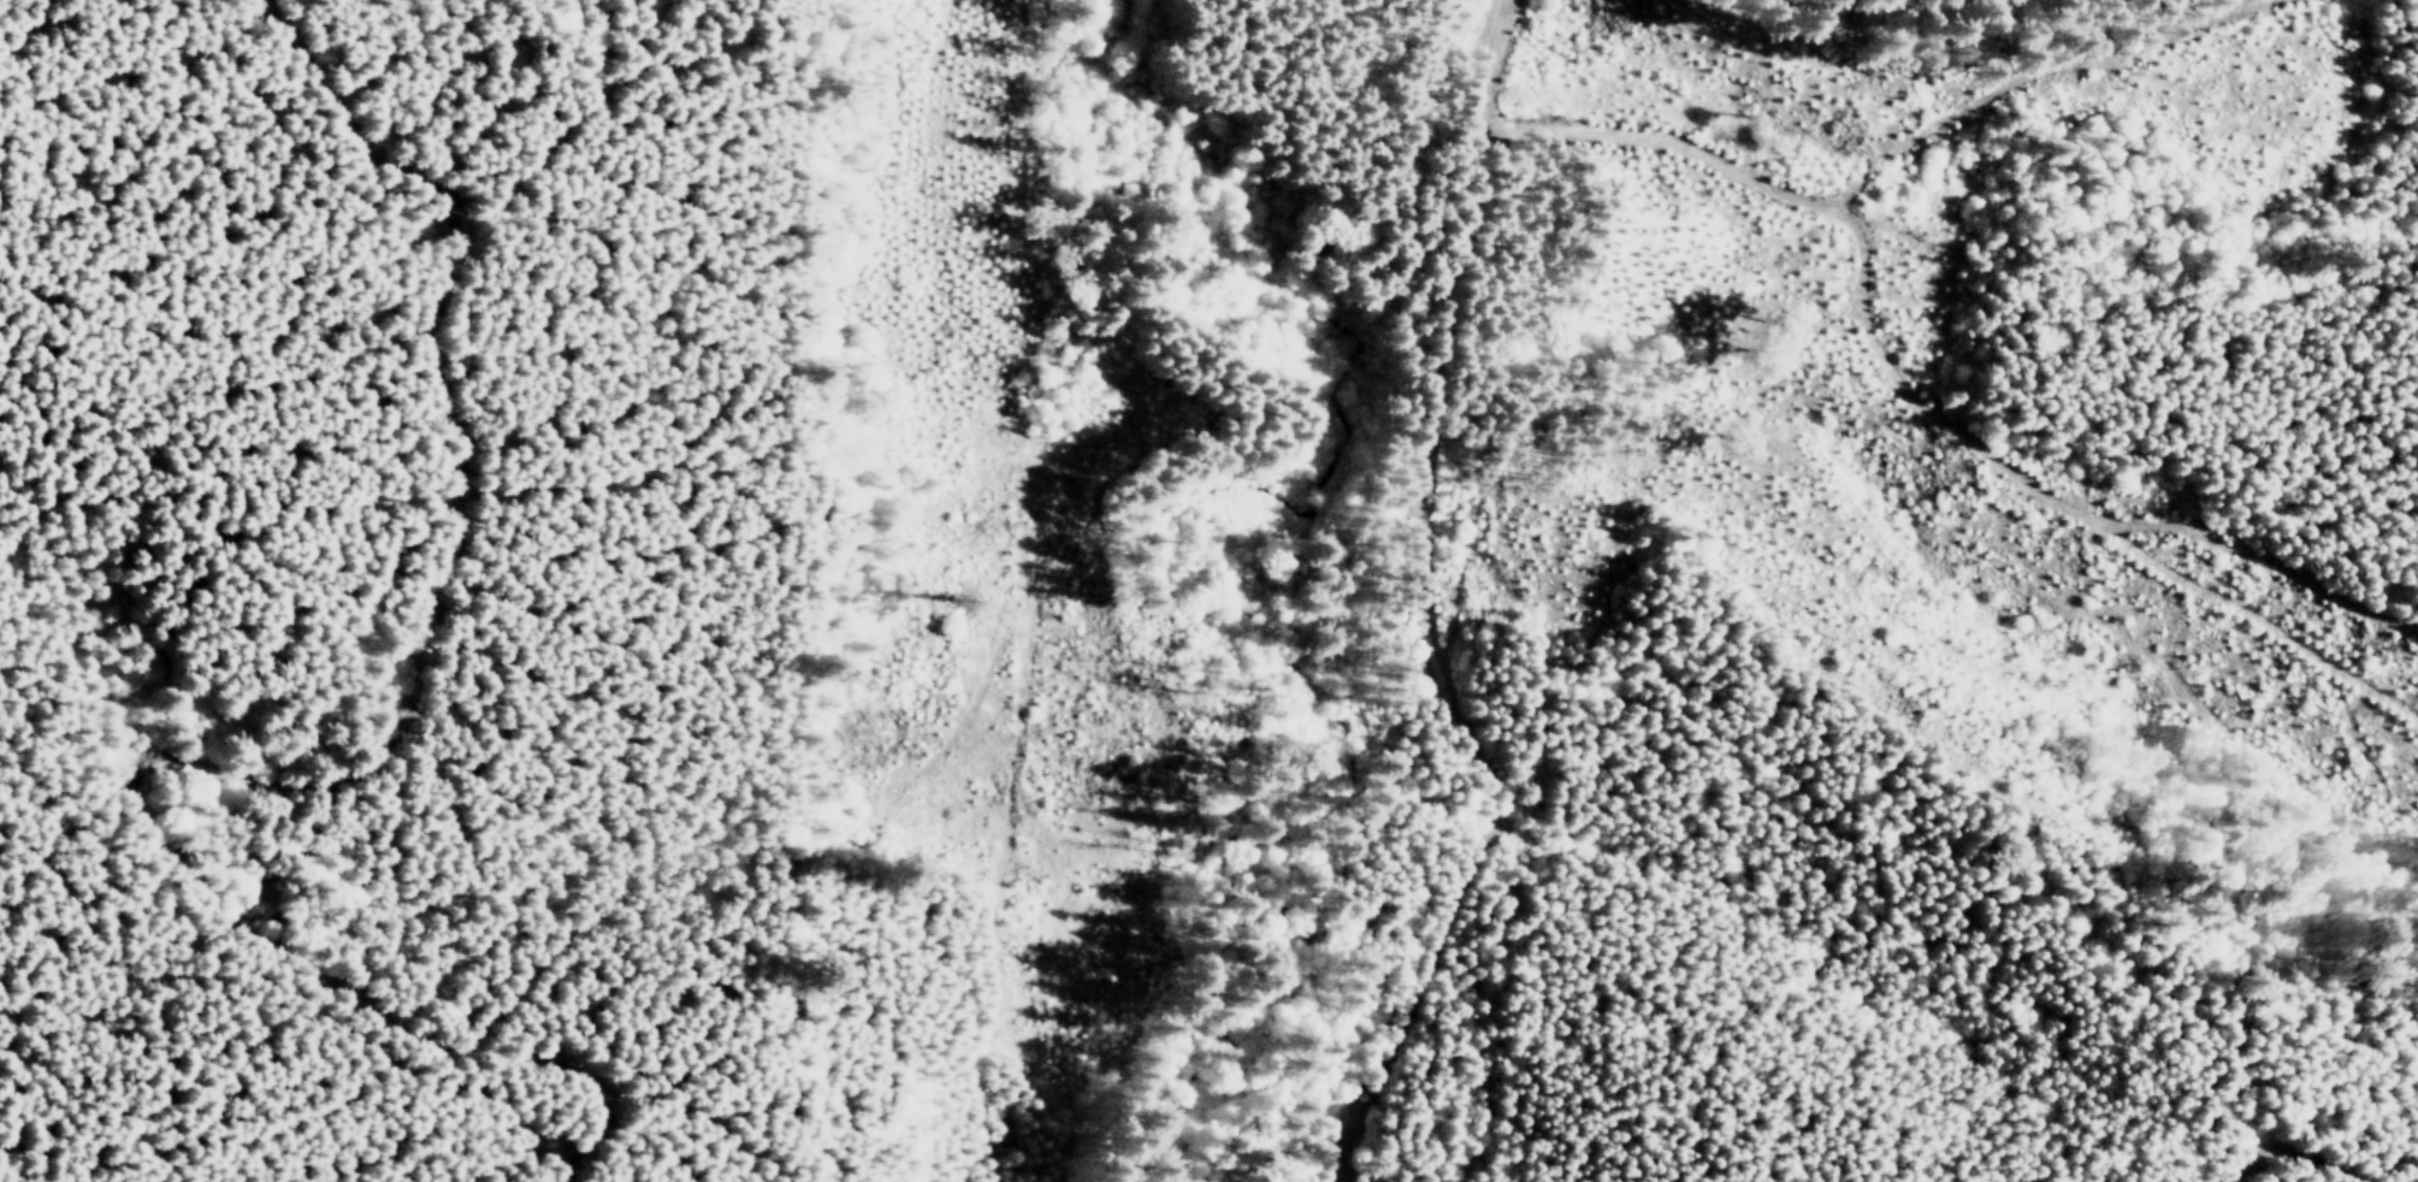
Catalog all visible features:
road: (2074, 73)
road: (1872, 120)
road: (1902, 395)
road: (1417, 611)
road: (2265, 623)
road: (329, 784)

